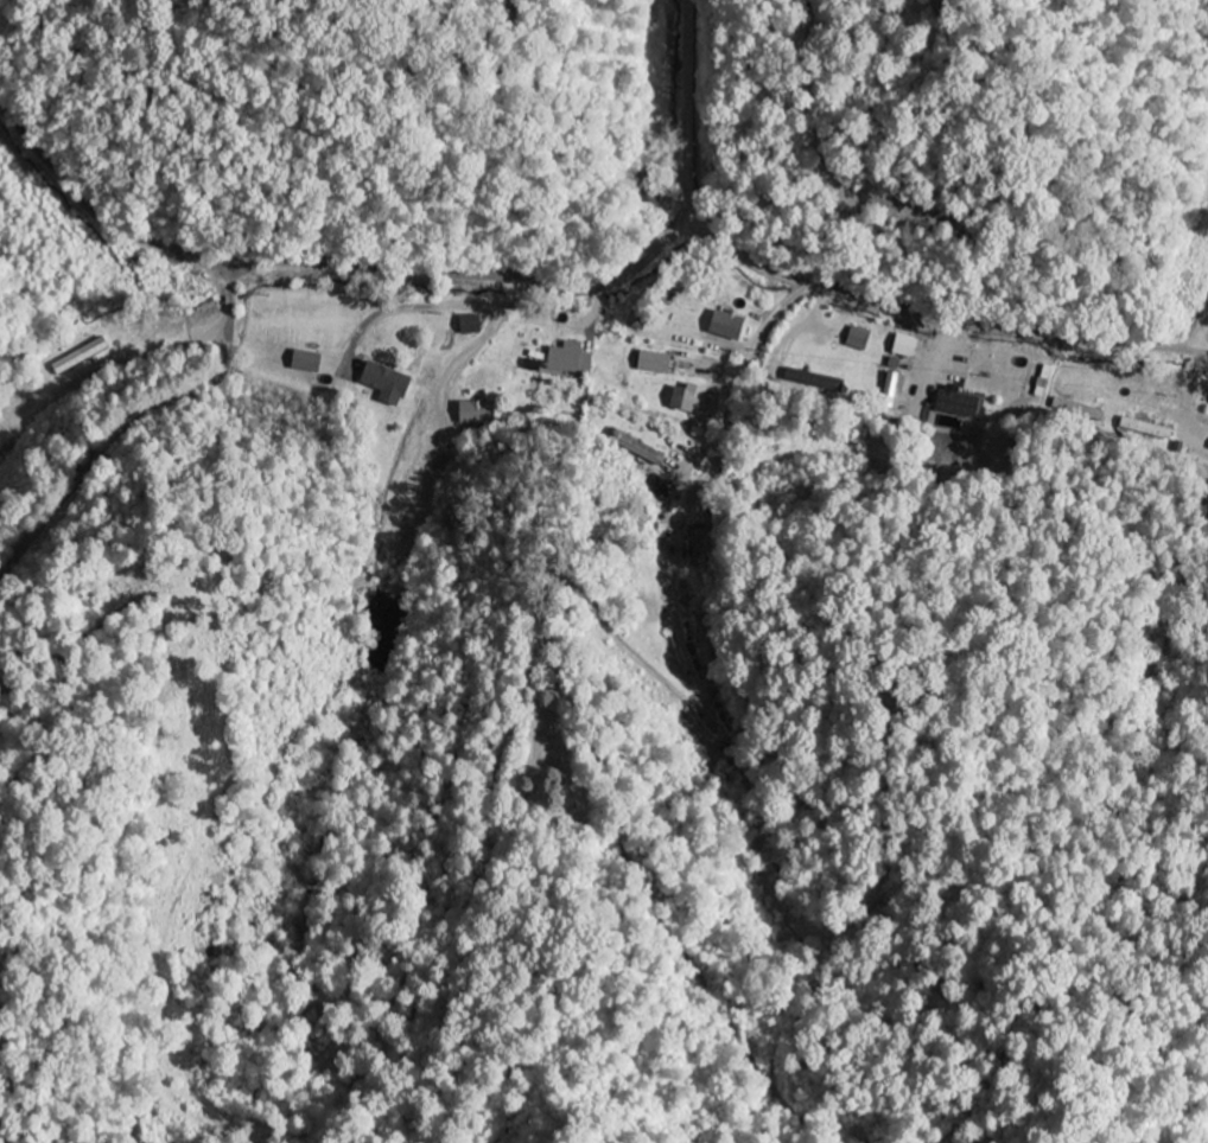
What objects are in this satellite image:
road: (688, 115)
road: (592, 286)
road: (231, 288)
building: (476, 326)
building: (730, 333)
road: (1201, 336)
building: (863, 340)
building: (910, 347)
building: (573, 359)
road: (119, 362)
building: (660, 364)
building: (390, 384)
building: (895, 384)
building: (698, 402)
building: (960, 404)
building: (1073, 409)
building: (478, 414)
building: (1147, 428)
road: (113, 429)
road: (698, 492)

